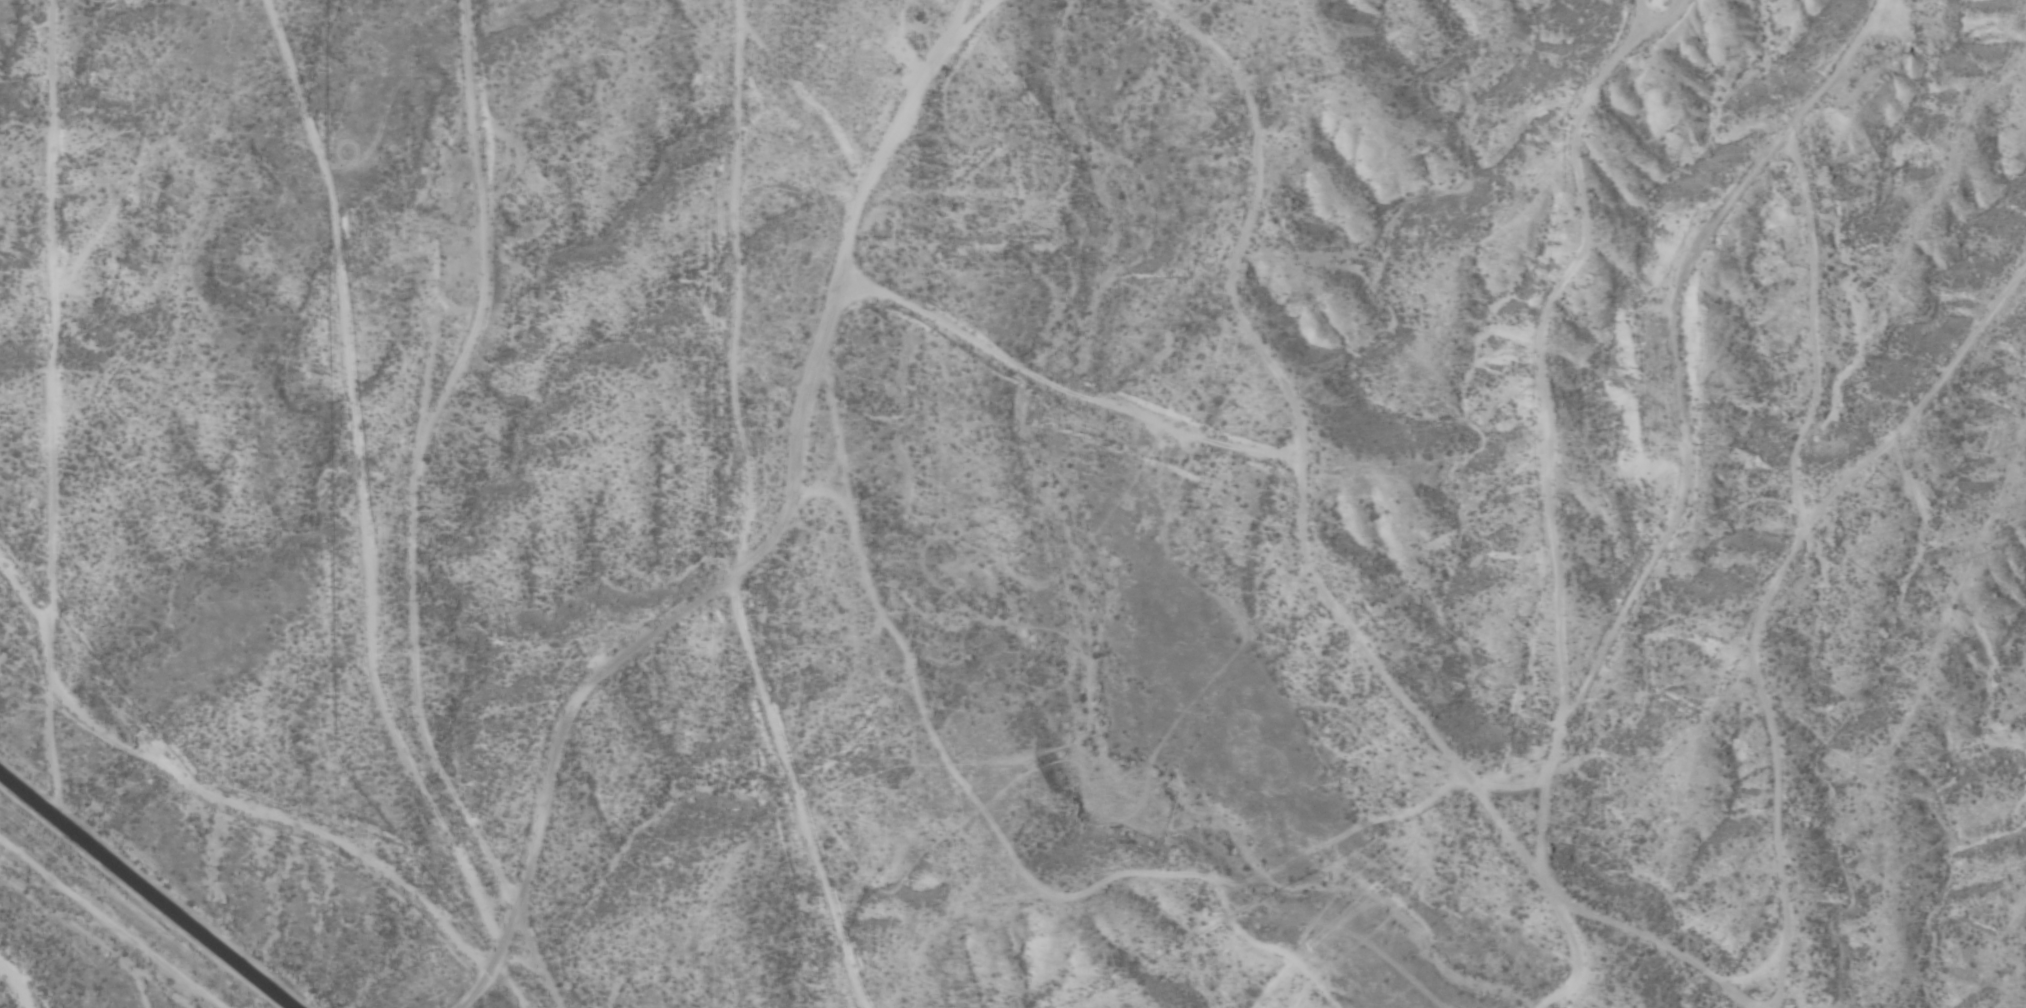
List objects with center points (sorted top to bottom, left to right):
road: (414, 449)
road: (1574, 538)
road: (756, 541)
road: (147, 889)

